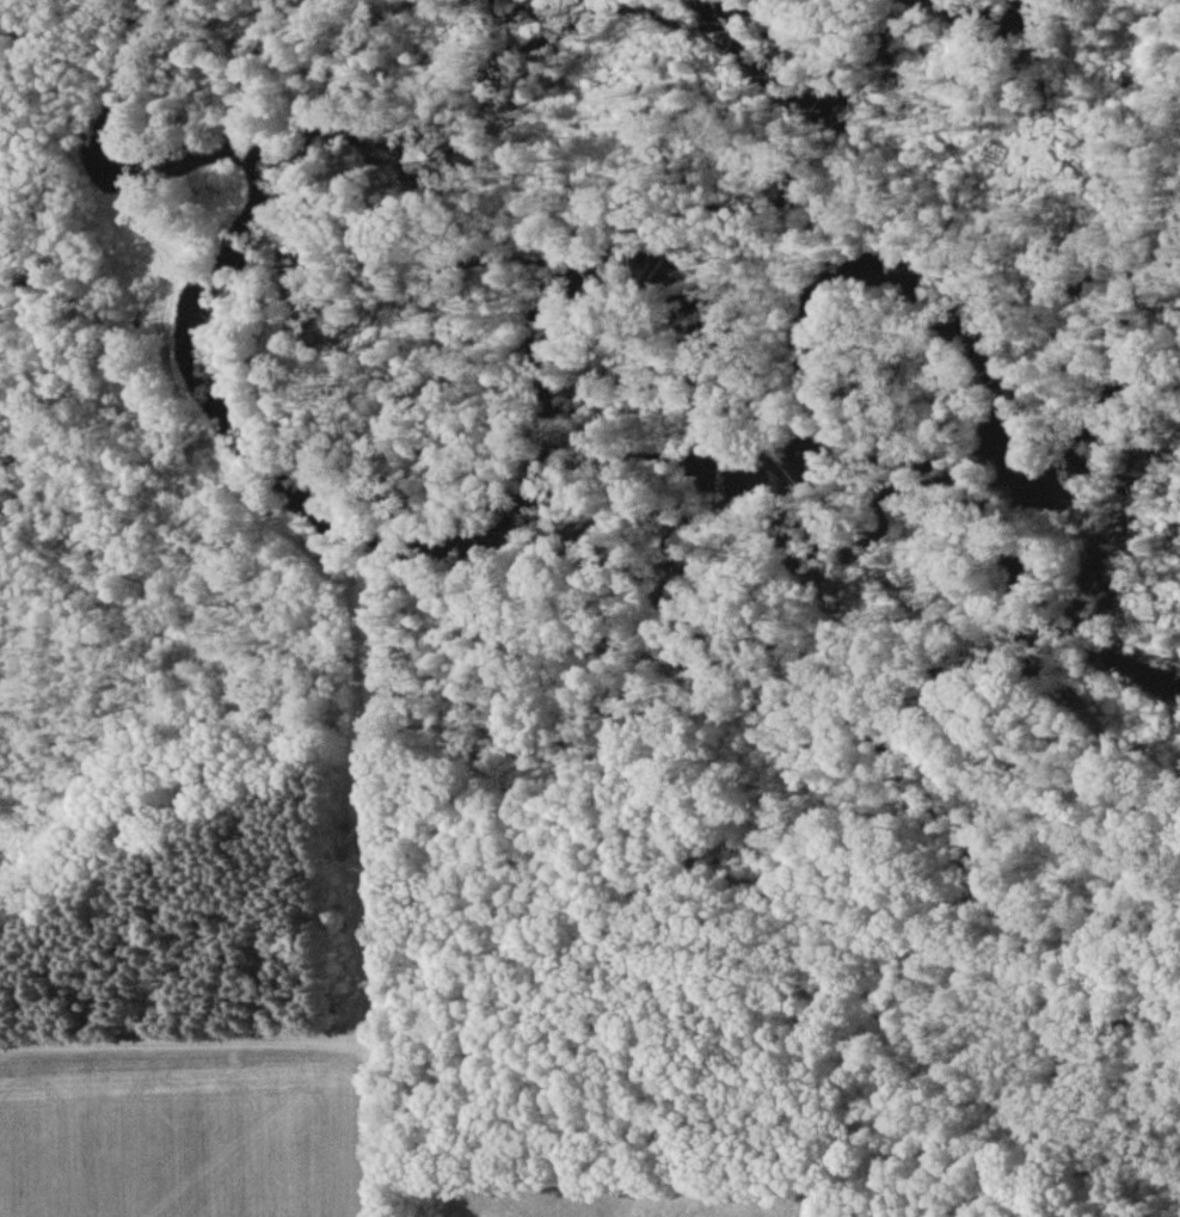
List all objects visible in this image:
road: (902, 1164)

